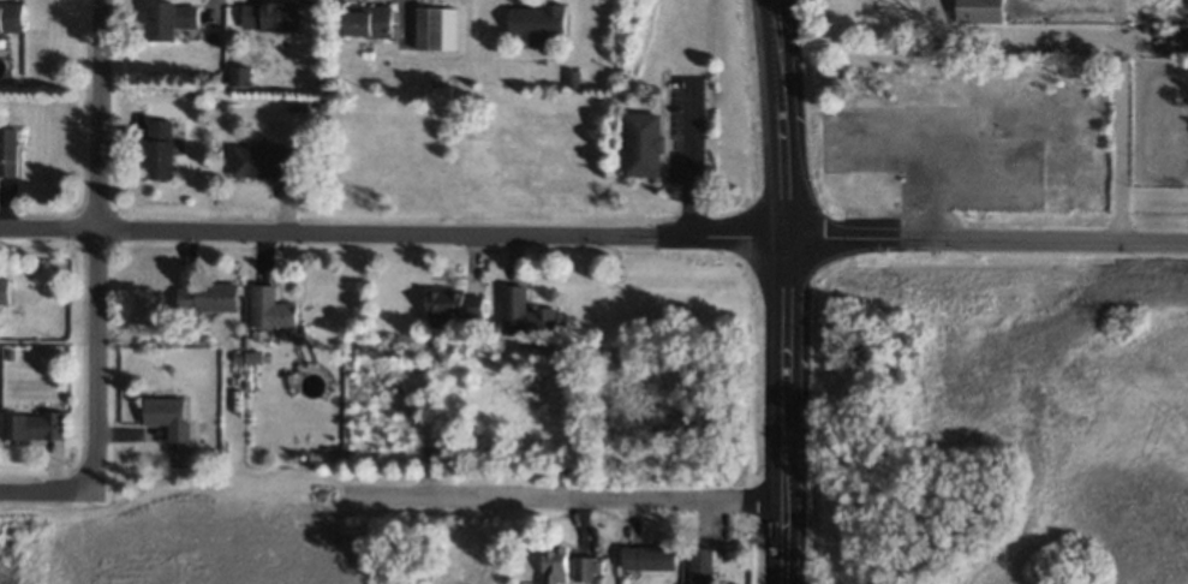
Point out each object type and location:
building: (981, 11)
building: (271, 18)
building: (12, 19)
building: (168, 19)
building: (365, 22)
building: (537, 22)
building: (437, 28)
road: (1118, 37)
road: (1153, 37)
road: (780, 50)
road: (790, 50)
building: (240, 75)
building: (915, 84)
building: (440, 89)
building: (645, 147)
building: (160, 151)
building: (10, 153)
road: (689, 157)
building: (262, 163)
road: (133, 227)
road: (526, 232)
road: (986, 237)
road: (97, 269)
building: (4, 292)
building: (210, 299)
building: (455, 308)
building: (274, 312)
building: (529, 315)
road: (783, 342)
crop: (1064, 409)
building: (163, 416)
building: (36, 429)
road: (14, 489)
road: (566, 501)
crop: (209, 543)
crop: (467, 556)
building: (647, 558)
building: (565, 568)
building: (703, 568)

